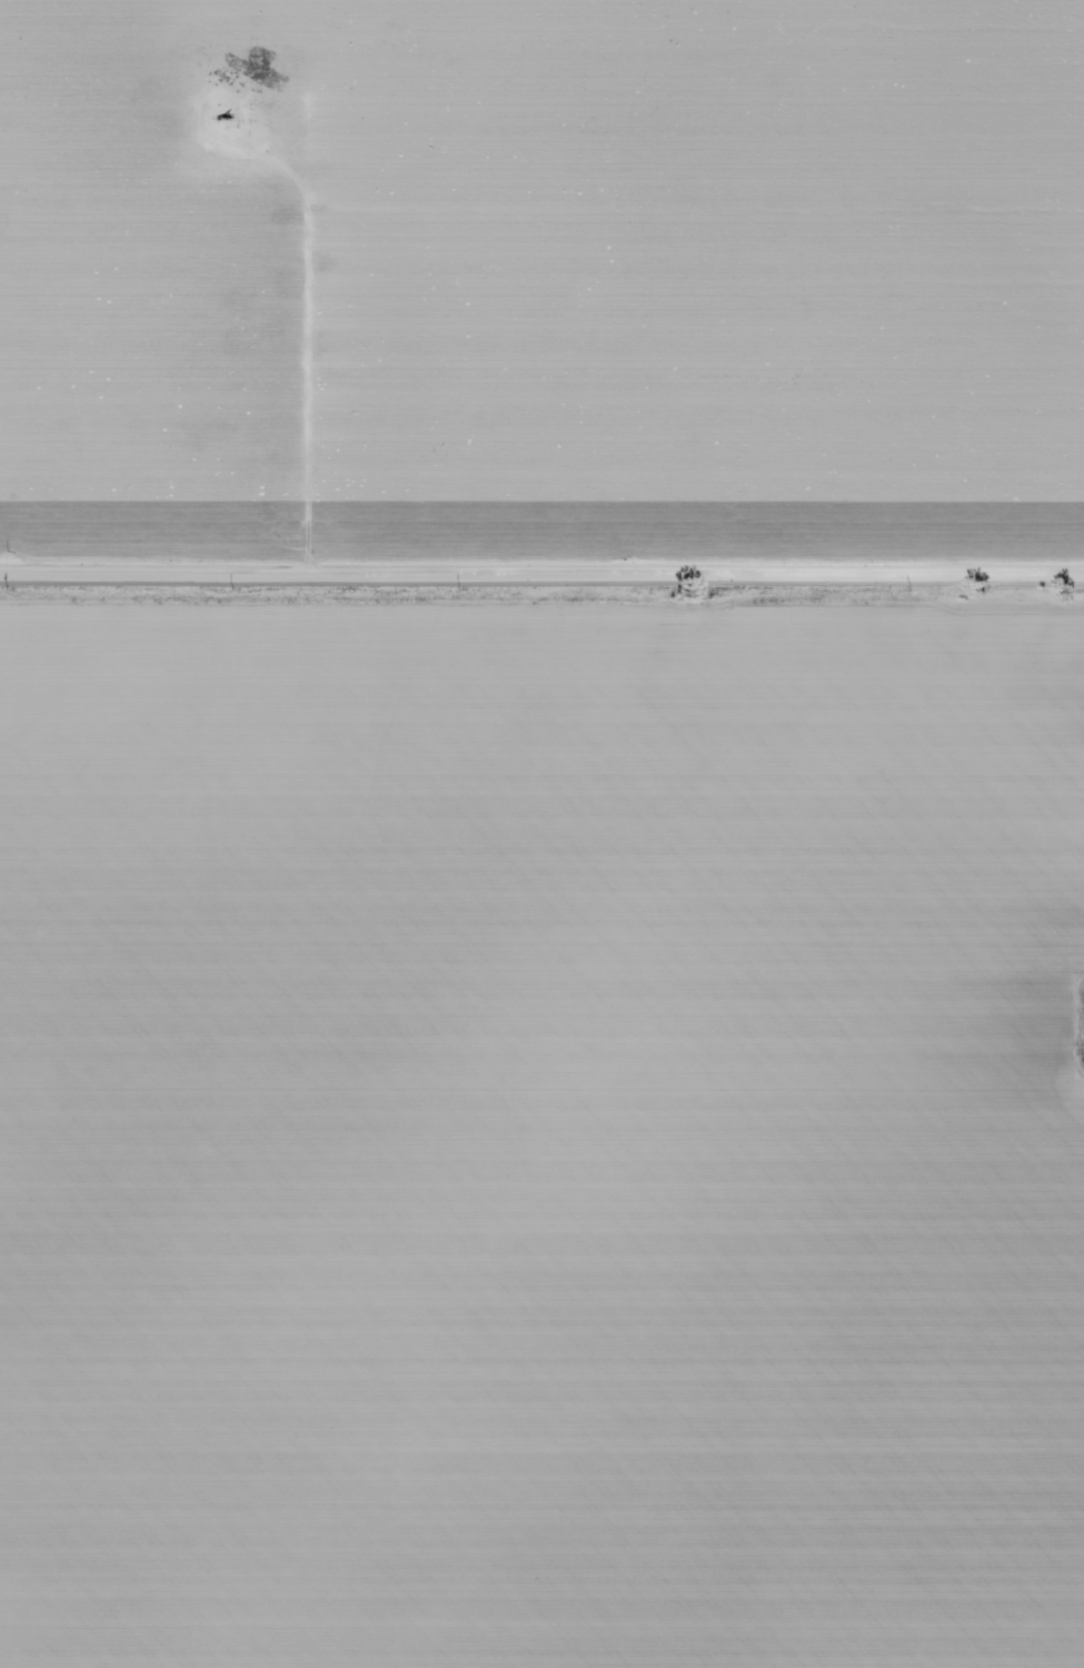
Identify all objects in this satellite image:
road: (541, 570)

